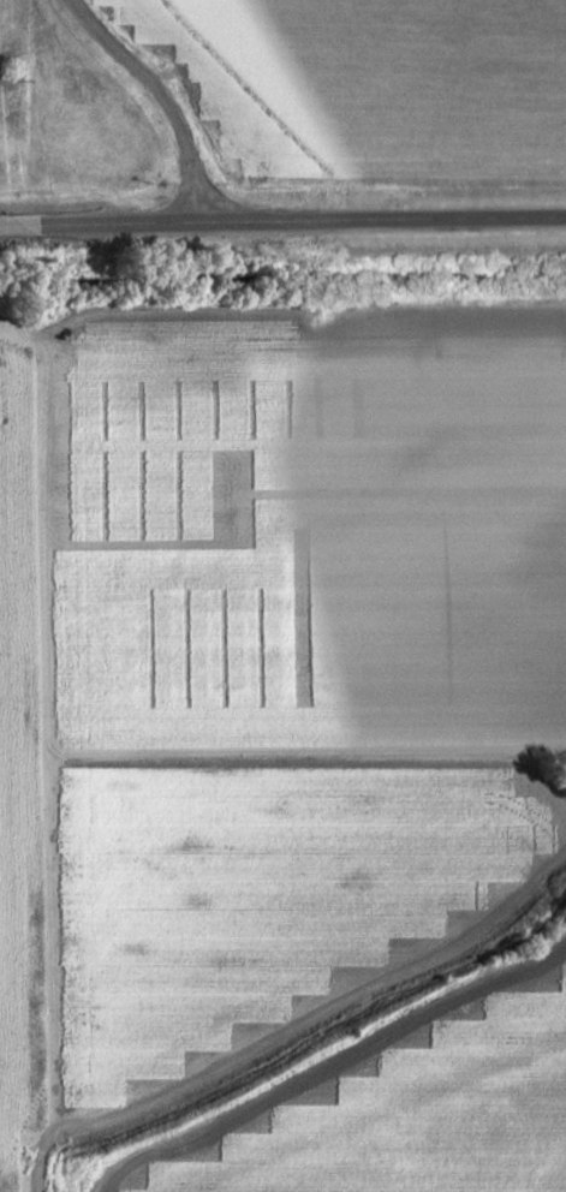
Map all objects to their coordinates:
road: (157, 95)
road: (282, 220)

